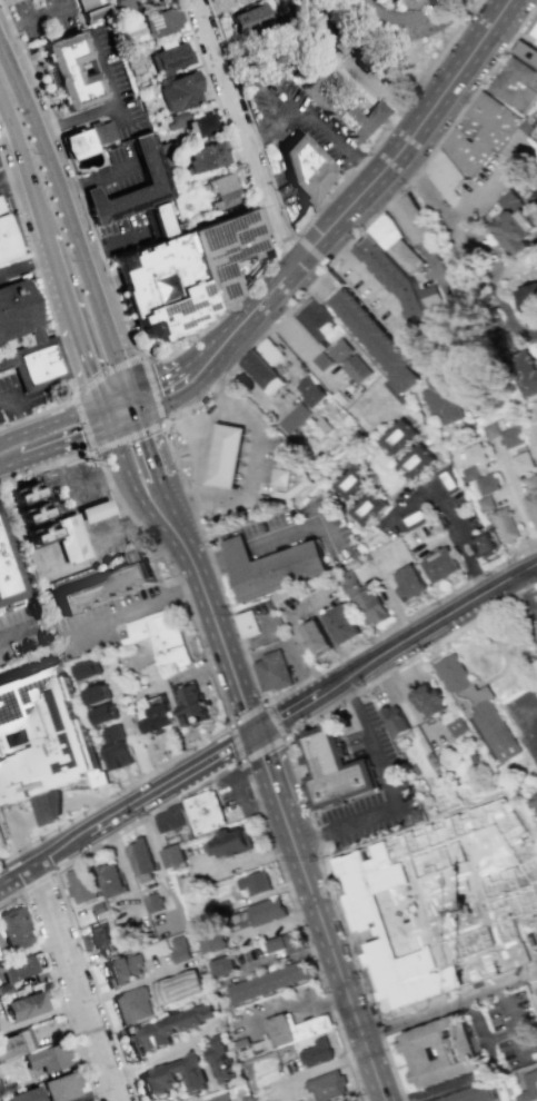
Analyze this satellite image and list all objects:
building: (121, 4)
building: (91, 10)
parking lot: (43, 18)
building: (250, 18)
parking lot: (425, 18)
road: (31, 19)
building: (162, 20)
building: (129, 22)
road: (398, 26)
building: (533, 33)
building: (342, 43)
building: (526, 54)
building: (169, 57)
building: (70, 71)
parking lot: (111, 78)
building: (515, 86)
building: (180, 90)
road: (370, 90)
road: (112, 107)
building: (348, 110)
parking lot: (298, 117)
road: (250, 118)
building: (177, 119)
building: (536, 123)
building: (201, 125)
road: (274, 126)
building: (101, 130)
road: (246, 131)
road: (326, 131)
road: (411, 132)
building: (478, 132)
road: (6, 141)
building: (78, 142)
building: (206, 157)
road: (18, 159)
building: (149, 162)
parking lot: (0, 166)
building: (306, 170)
parking lot: (115, 172)
road: (10, 173)
building: (442, 176)
road: (96, 178)
parking lot: (2, 181)
building: (223, 190)
building: (160, 217)
road: (70, 218)
road: (455, 218)
building: (411, 219)
building: (515, 222)
road: (364, 226)
parking lot: (125, 231)
road: (402, 234)
building: (6, 239)
road: (116, 241)
building: (391, 242)
road: (309, 251)
road: (53, 261)
road: (26, 268)
road: (358, 271)
building: (185, 274)
building: (391, 277)
road: (491, 280)
building: (326, 286)
building: (427, 295)
road: (260, 301)
building: (527, 304)
building: (18, 310)
road: (49, 311)
building: (318, 324)
road: (193, 335)
building: (371, 339)
building: (536, 346)
building: (338, 350)
building: (268, 351)
road: (87, 357)
building: (320, 360)
building: (38, 365)
road: (196, 368)
building: (354, 368)
building: (524, 369)
road: (103, 371)
building: (262, 373)
road: (152, 389)
road: (219, 390)
building: (309, 390)
road: (152, 395)
building: (437, 398)
road: (4, 399)
parking lot: (8, 401)
road: (119, 401)
traffic signals: (136, 401)
traffic signals: (102, 403)
road: (89, 407)
road: (17, 414)
road: (106, 414)
road: (122, 414)
building: (292, 417)
road: (81, 424)
road: (38, 426)
traffic signals: (110, 426)
road: (205, 428)
building: (487, 429)
road: (199, 434)
road: (80, 436)
building: (397, 436)
road: (128, 437)
building: (508, 437)
road: (533, 442)
road: (229, 444)
building: (473, 453)
road: (26, 457)
road: (155, 458)
building: (223, 458)
gas station: (235, 458)
road: (252, 462)
building: (412, 463)
building: (520, 464)
parking lot: (266, 467)
road: (226, 468)
building: (468, 473)
road: (129, 476)
building: (288, 478)
building: (445, 479)
building: (350, 480)
building: (530, 482)
building: (485, 483)
parking lot: (70, 487)
road: (77, 489)
road: (516, 502)
building: (485, 503)
road: (106, 504)
road: (190, 505)
building: (531, 505)
building: (367, 507)
building: (32, 512)
road: (82, 514)
road: (449, 514)
building: (93, 516)
building: (411, 517)
road: (128, 524)
building: (504, 524)
parking lot: (298, 533)
road: (287, 536)
building: (70, 537)
road: (149, 538)
road: (328, 538)
building: (481, 545)
road: (222, 559)
road: (211, 564)
building: (438, 566)
building: (269, 568)
building: (10, 572)
building: (407, 582)
building: (103, 587)
road: (386, 593)
road: (528, 594)
building: (362, 599)
parking lot: (306, 605)
road: (133, 609)
road: (298, 609)
road: (447, 615)
parking lot: (106, 617)
parking lot: (267, 621)
road: (526, 621)
road: (213, 623)
building: (245, 623)
building: (341, 623)
road: (398, 623)
parking lot: (19, 631)
road: (14, 633)
building: (316, 637)
road: (247, 641)
building: (160, 642)
road: (284, 643)
parking lot: (291, 658)
road: (409, 658)
road: (504, 661)
building: (89, 669)
building: (270, 671)
building: (97, 695)
road: (307, 701)
building: (427, 702)
building: (189, 703)
road: (531, 703)
building: (476, 710)
building: (105, 714)
building: (157, 717)
parking lot: (526, 717)
building: (392, 720)
building: (454, 726)
traffic signals: (253, 733)
building: (42, 740)
road: (282, 740)
building: (117, 747)
road: (197, 767)
building: (336, 773)
road: (249, 776)
parking lot: (391, 778)
road: (198, 786)
road: (83, 791)
road: (115, 791)
road: (389, 792)
road: (276, 797)
road: (89, 800)
parking lot: (236, 800)
road: (238, 800)
building: (535, 802)
road: (50, 807)
road: (10, 813)
building: (205, 813)
building: (169, 819)
road: (16, 832)
building: (230, 842)
road: (70, 843)
building: (171, 856)
building: (140, 859)
building: (111, 880)
road: (37, 881)
building: (256, 883)
building: (83, 895)
building: (152, 903)
building: (440, 904)
building: (258, 913)
road: (337, 920)
building: (13, 928)
building: (100, 938)
building: (210, 938)
building: (0, 942)
building: (285, 942)
building: (178, 949)
building: (18, 966)
building: (221, 966)
building: (123, 970)
road: (536, 976)
road: (344, 981)
road: (77, 982)
road: (140, 982)
building: (269, 982)
road: (53, 984)
building: (4, 988)
building: (176, 988)
building: (26, 1005)
building: (132, 1005)
road: (41, 1013)
road: (510, 1014)
parking lot: (513, 1026)
building: (165, 1028)
road: (478, 1028)
building: (292, 1031)
road: (500, 1034)
building: (14, 1042)
road: (520, 1043)
building: (438, 1050)
building: (317, 1053)
building: (46, 1057)
road: (167, 1057)
building: (220, 1060)
building: (171, 1078)
building: (328, 1085)
building: (529, 1085)
building: (60, 1087)
road: (91, 1091)
building: (21, 1094)
building: (467, 1094)
building: (217, 1097)
building: (246, 1098)

